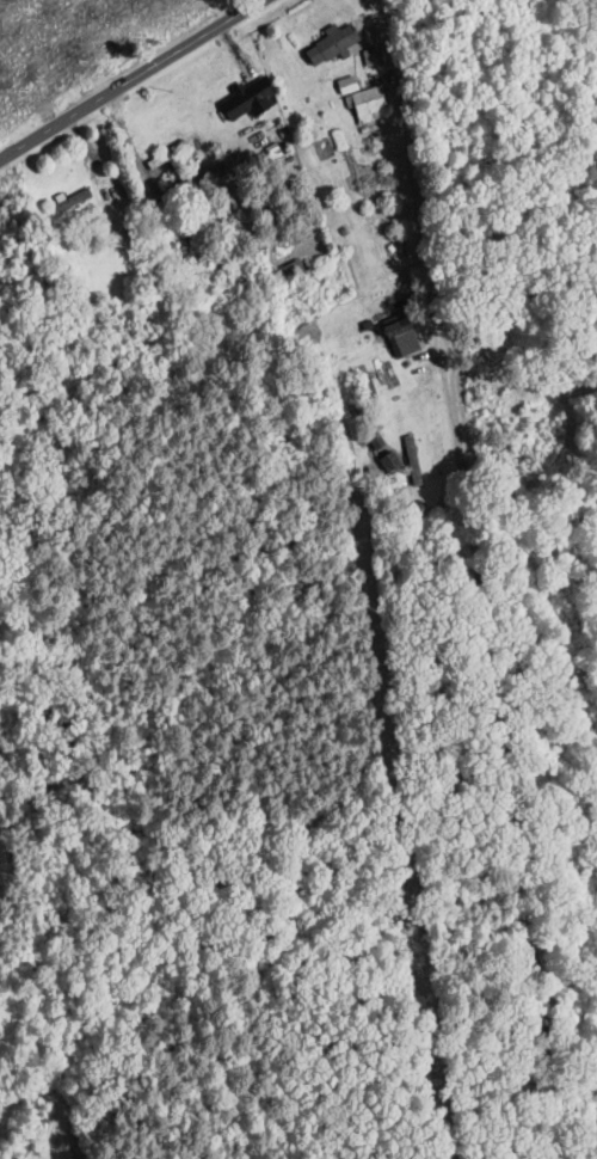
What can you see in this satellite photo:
building: (331, 44)
road: (133, 80)
building: (248, 99)
building: (362, 100)
building: (166, 157)
building: (72, 201)
building: (214, 271)
building: (288, 271)
building: (402, 339)
building: (412, 460)
building: (392, 464)
road: (476, 579)

